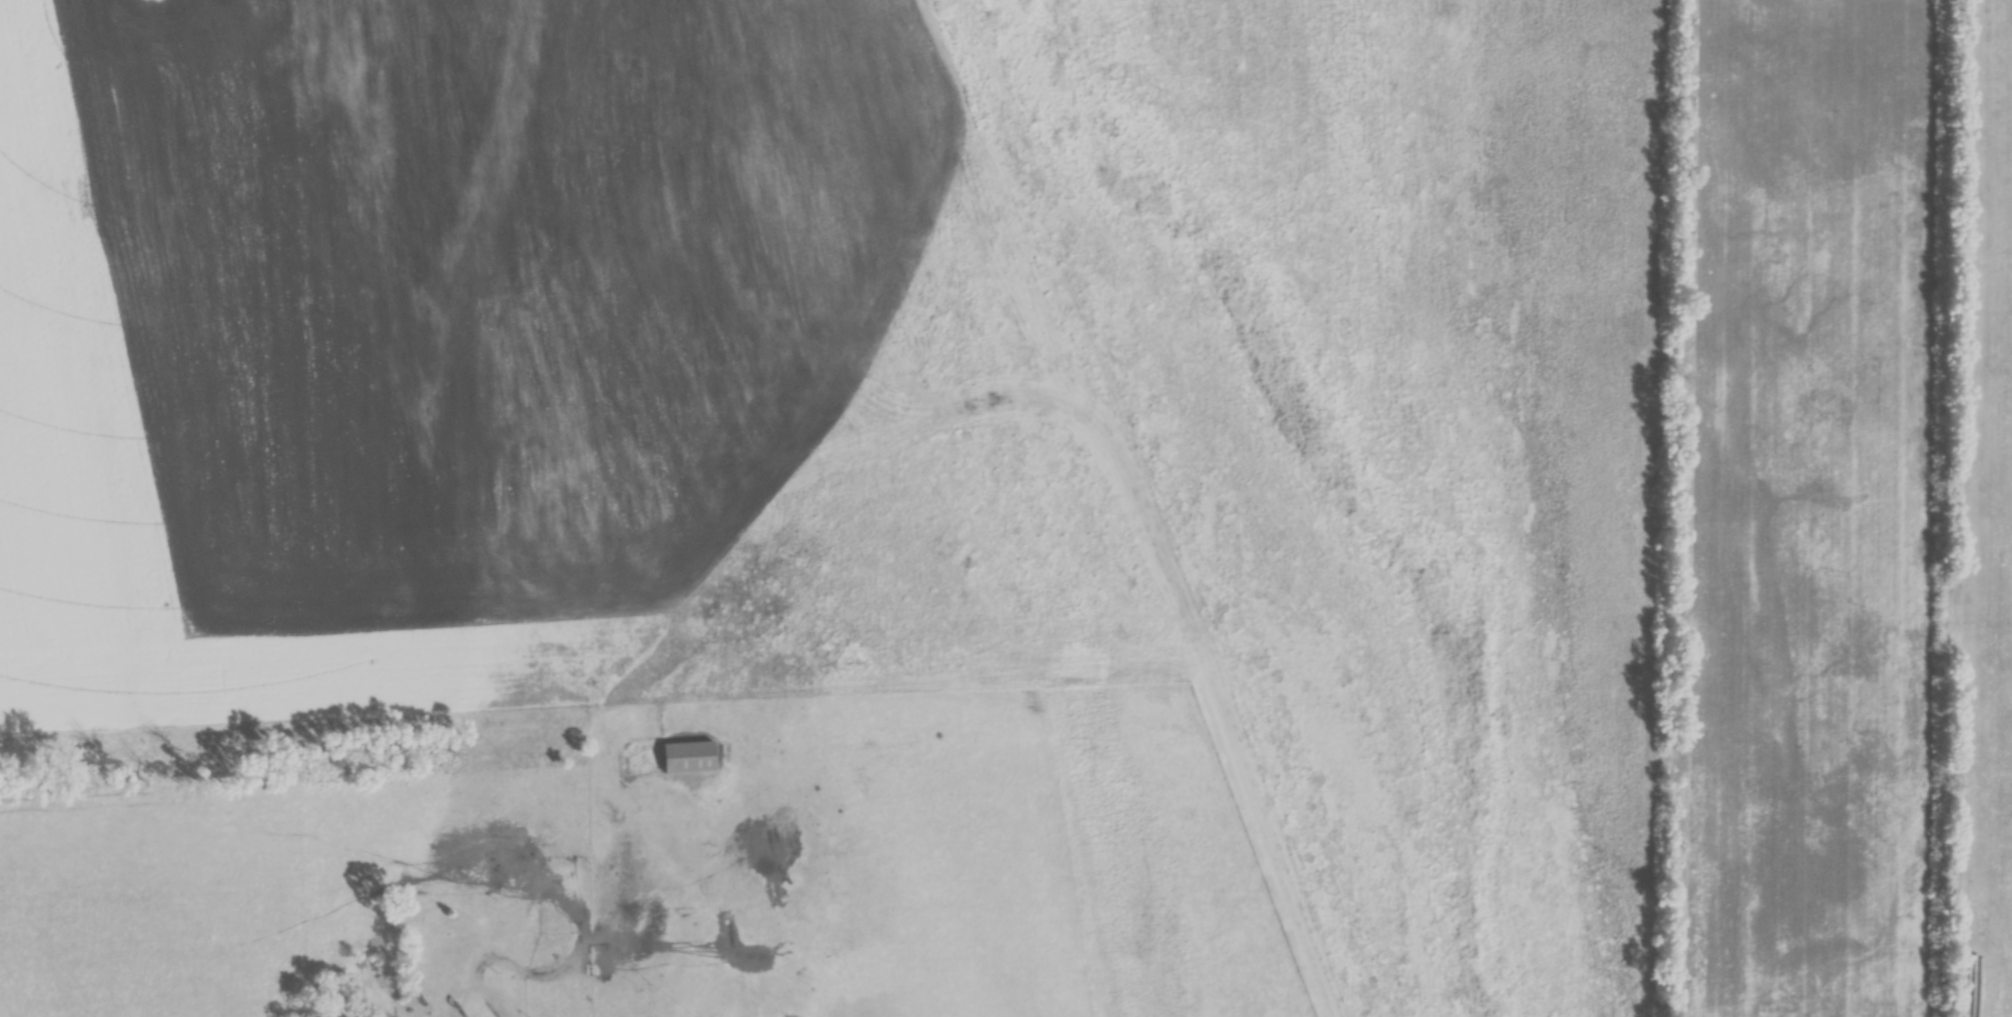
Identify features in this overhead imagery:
building: (686, 757)
building: (519, 876)
building: (604, 1012)

